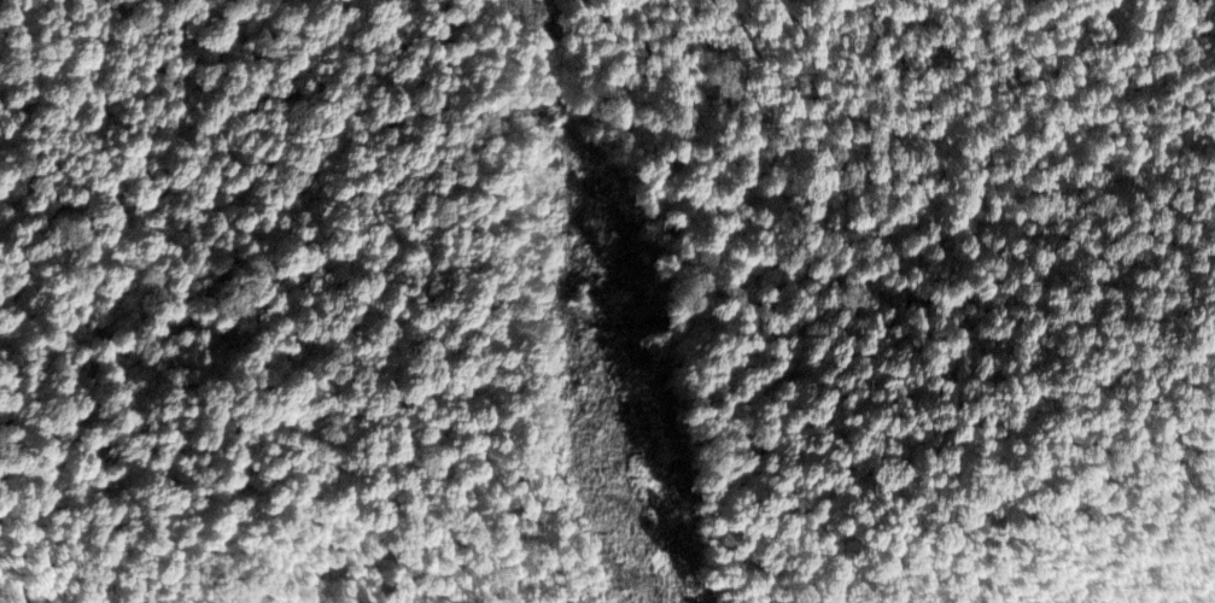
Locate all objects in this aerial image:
power tower: (624, 576)

